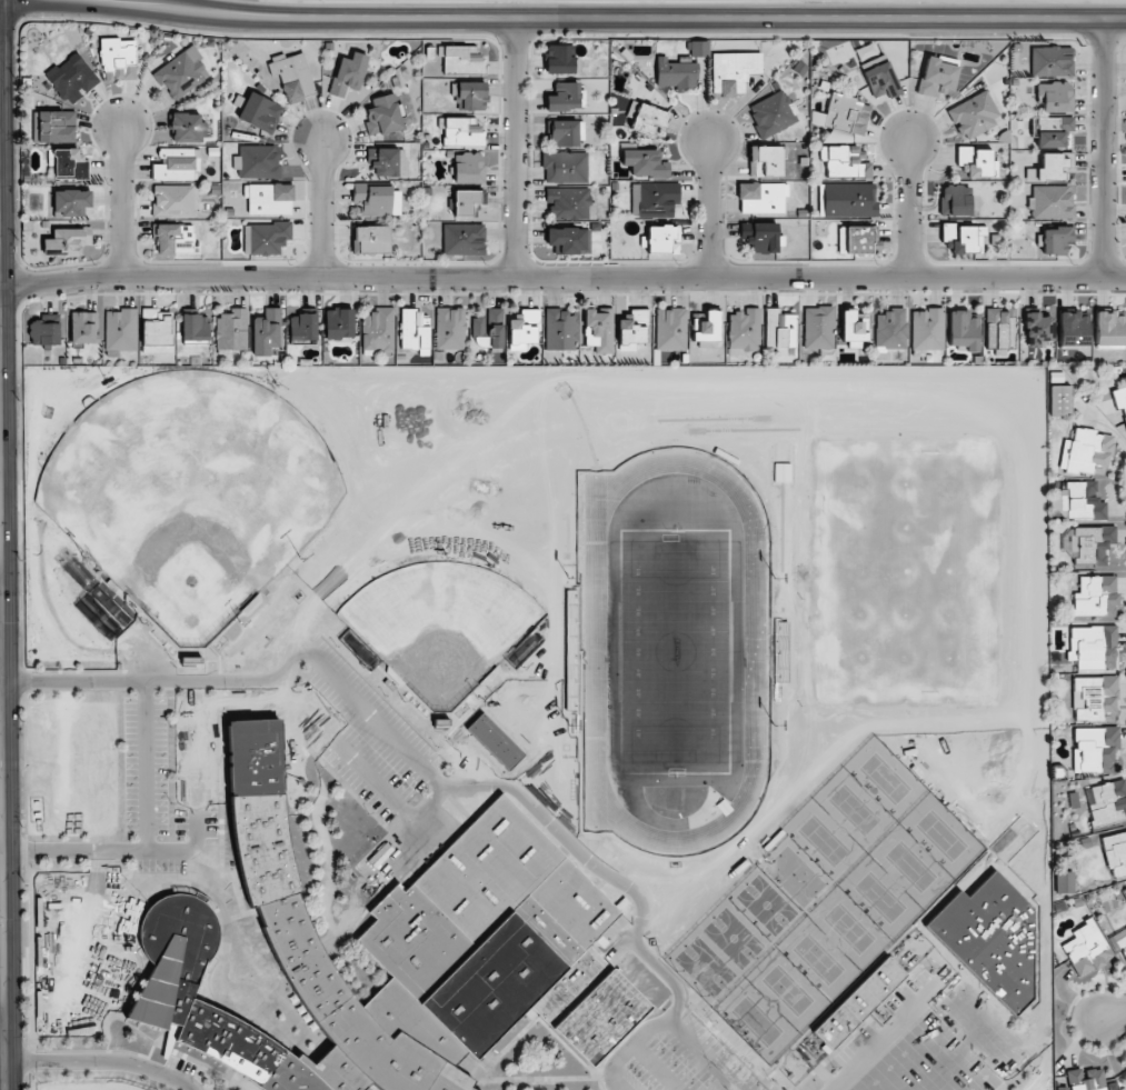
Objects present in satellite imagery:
road: (617, 20)
building: (699, 49)
building: (865, 51)
building: (118, 58)
building: (461, 60)
building: (559, 60)
building: (1050, 61)
building: (733, 71)
building: (676, 72)
building: (181, 73)
building: (348, 73)
building: (292, 76)
building: (937, 77)
building: (71, 78)
building: (880, 80)
building: (469, 96)
building: (565, 97)
building: (1055, 97)
building: (260, 112)
building: (773, 113)
building: (846, 113)
building: (974, 114)
building: (383, 116)
building: (648, 119)
building: (1046, 124)
building: (56, 127)
building: (187, 128)
building: (461, 132)
building: (566, 133)
building: (1055, 134)
road: (515, 148)
road: (1103, 148)
building: (765, 161)
building: (257, 162)
building: (386, 162)
building: (843, 162)
building: (68, 163)
building: (644, 163)
building: (977, 163)
building: (178, 164)
building: (565, 167)
building: (1052, 167)
building: (468, 168)
building: (761, 198)
building: (268, 199)
building: (655, 199)
building: (376, 200)
building: (847, 200)
building: (955, 200)
road: (121, 201)
building: (172, 201)
building: (464, 201)
building: (70, 202)
building: (1050, 202)
building: (570, 203)
road: (320, 208)
road: (710, 208)
road: (908, 208)
building: (265, 238)
building: (462, 238)
building: (763, 238)
building: (964, 238)
building: (175, 239)
building: (371, 239)
building: (662, 239)
building: (854, 239)
building: (1055, 239)
building: (568, 240)
building: (67, 241)
road: (562, 276)
road: (389, 293)
road: (23, 296)
road: (12, 307)
building: (339, 324)
building: (302, 326)
building: (83, 327)
building: (706, 327)
building: (450, 328)
building: (818, 328)
building: (854, 328)
building: (1073, 328)
building: (1109, 328)
building: (195, 329)
building: (488, 329)
building: (524, 329)
building: (632, 329)
building: (670, 329)
building: (890, 329)
building: (927, 329)
building: (1037, 329)
building: (231, 330)
building: (378, 330)
building: (560, 330)
building: (598, 330)
building: (779, 330)
building: (963, 330)
building: (999, 330)
building: (44, 331)
building: (120, 331)
building: (157, 331)
building: (415, 331)
building: (744, 331)
building: (266, 332)
building: (1056, 377)
building: (1125, 378)
building: (1059, 400)
building: (1119, 400)
road: (585, 429)
building: (1088, 451)
road: (1118, 482)
park: (190, 493)
building: (1084, 501)
road: (568, 540)
building: (1093, 543)
building: (1096, 599)
park: (441, 624)
track: (755, 642)
building: (1094, 647)
park: (674, 649)
road: (500, 670)
road: (505, 677)
road: (23, 680)
building: (1096, 698)
road: (359, 704)
parking lot: (355, 733)
building: (1096, 748)
parking lot: (169, 761)
road: (23, 766)
road: (145, 767)
building: (249, 771)
road: (584, 773)
park: (885, 779)
road: (431, 799)
road: (761, 803)
building: (1109, 803)
park: (854, 809)
road: (434, 824)
building: (1072, 827)
road: (597, 831)
building: (1074, 833)
park: (941, 836)
park: (824, 840)
road: (410, 847)
road: (24, 851)
road: (180, 851)
building: (1116, 851)
park: (910, 867)
park: (795, 877)
building: (1063, 882)
road: (2, 886)
park: (879, 898)
park: (766, 904)
building: (944, 911)
park: (849, 929)
building: (961, 929)
park: (734, 938)
building: (1125, 943)
building: (1088, 949)
building: (1124, 952)
road: (26, 956)
park: (818, 959)
building: (403, 960)
park: (705, 966)
park: (787, 990)
building: (860, 1003)
road: (2, 1004)
road: (1114, 1013)
road: (1068, 1020)
park: (757, 1021)
road: (2, 1028)
road: (889, 1031)
road: (1007, 1031)
parking lot: (934, 1042)
road: (937, 1047)
road: (626, 1049)
park: (939, 1052)
parking lot: (676, 1058)
road: (27, 1061)
road: (102, 1061)
road: (983, 1062)
road: (657, 1067)
building: (1125, 1068)
building: (1085, 1079)
road: (28, 1082)
building: (1110, 1086)
building: (1060, 1088)

